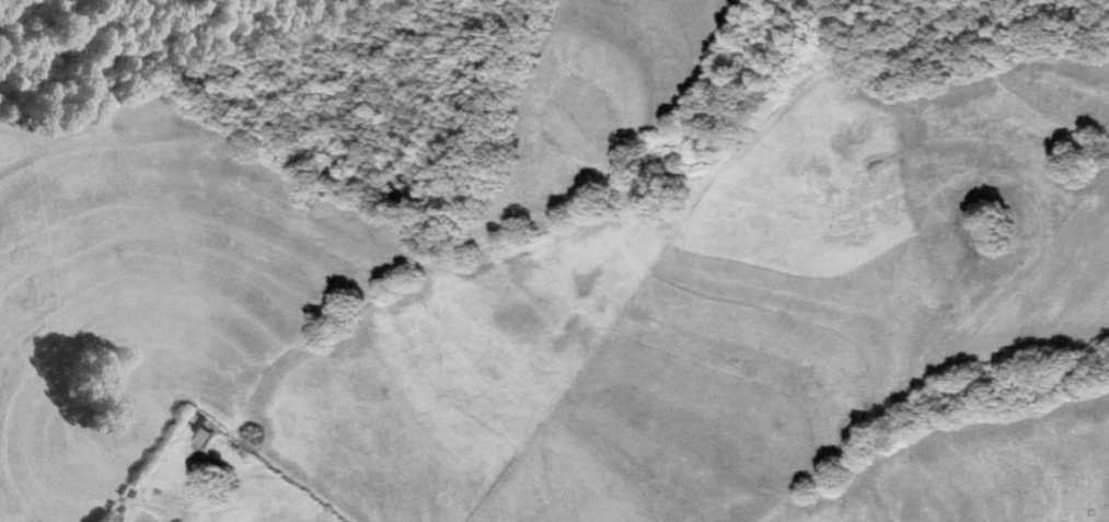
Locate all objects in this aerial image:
building: (206, 437)

